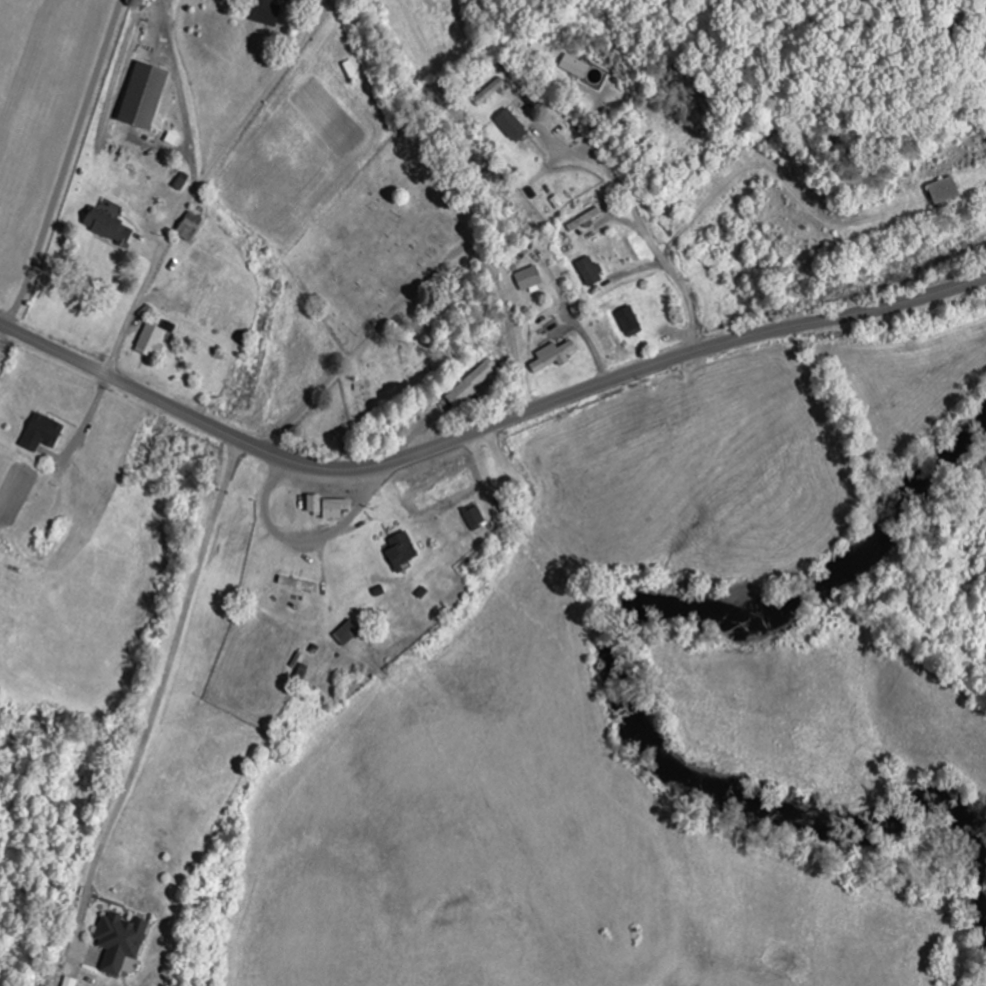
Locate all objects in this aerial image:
building: (267, 13)
building: (575, 67)
building: (490, 93)
building: (143, 97)
building: (512, 127)
road: (206, 179)
building: (944, 192)
building: (189, 227)
building: (109, 228)
park: (376, 241)
road: (650, 243)
building: (591, 273)
building: (529, 280)
building: (629, 323)
road: (374, 334)
road: (515, 339)
building: (152, 342)
park: (419, 345)
building: (554, 357)
building: (473, 384)
road: (486, 427)
building: (43, 434)
building: (314, 506)
building: (335, 510)
building: (474, 519)
building: (401, 553)
building: (348, 634)
building: (121, 944)

